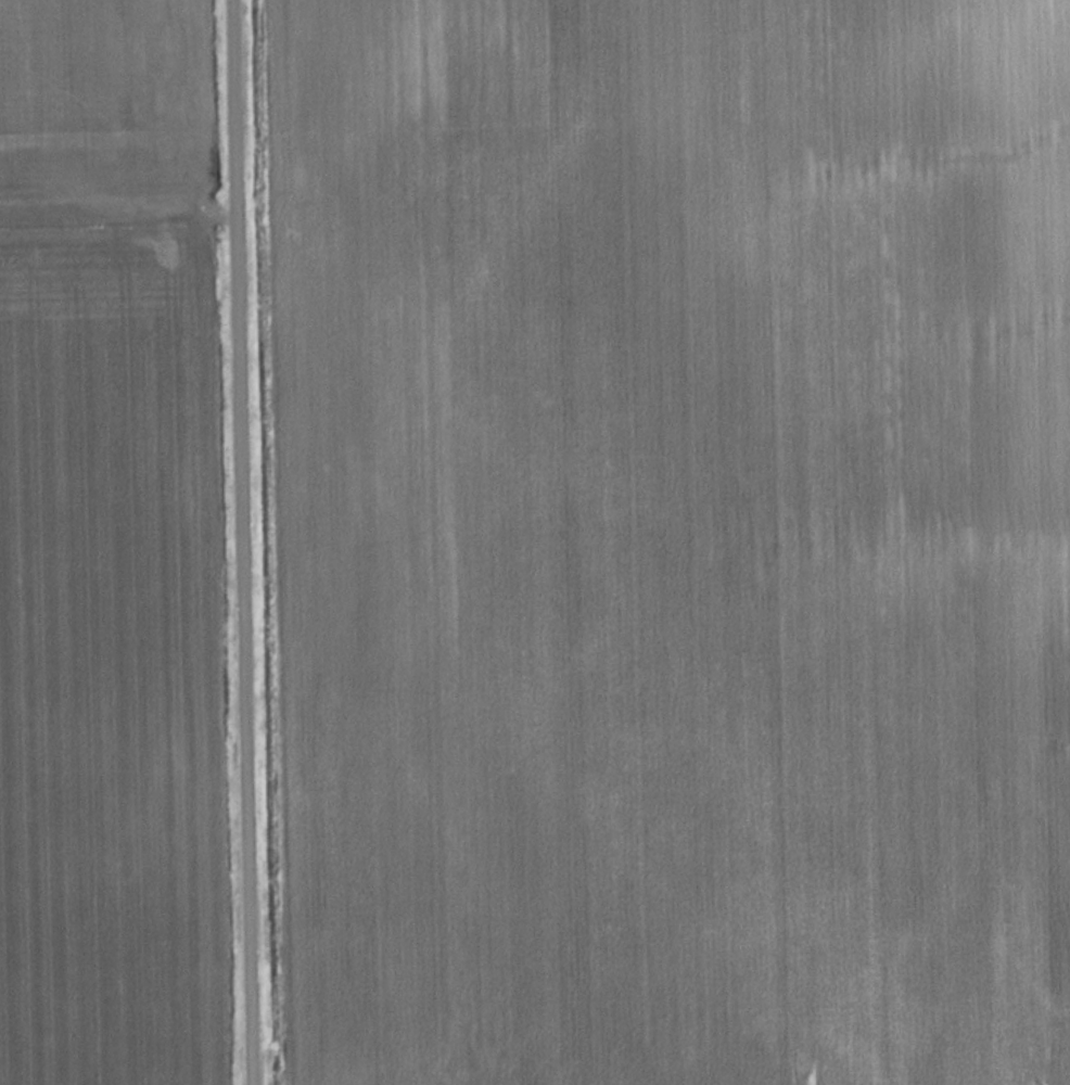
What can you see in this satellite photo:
road: (262, 541)

